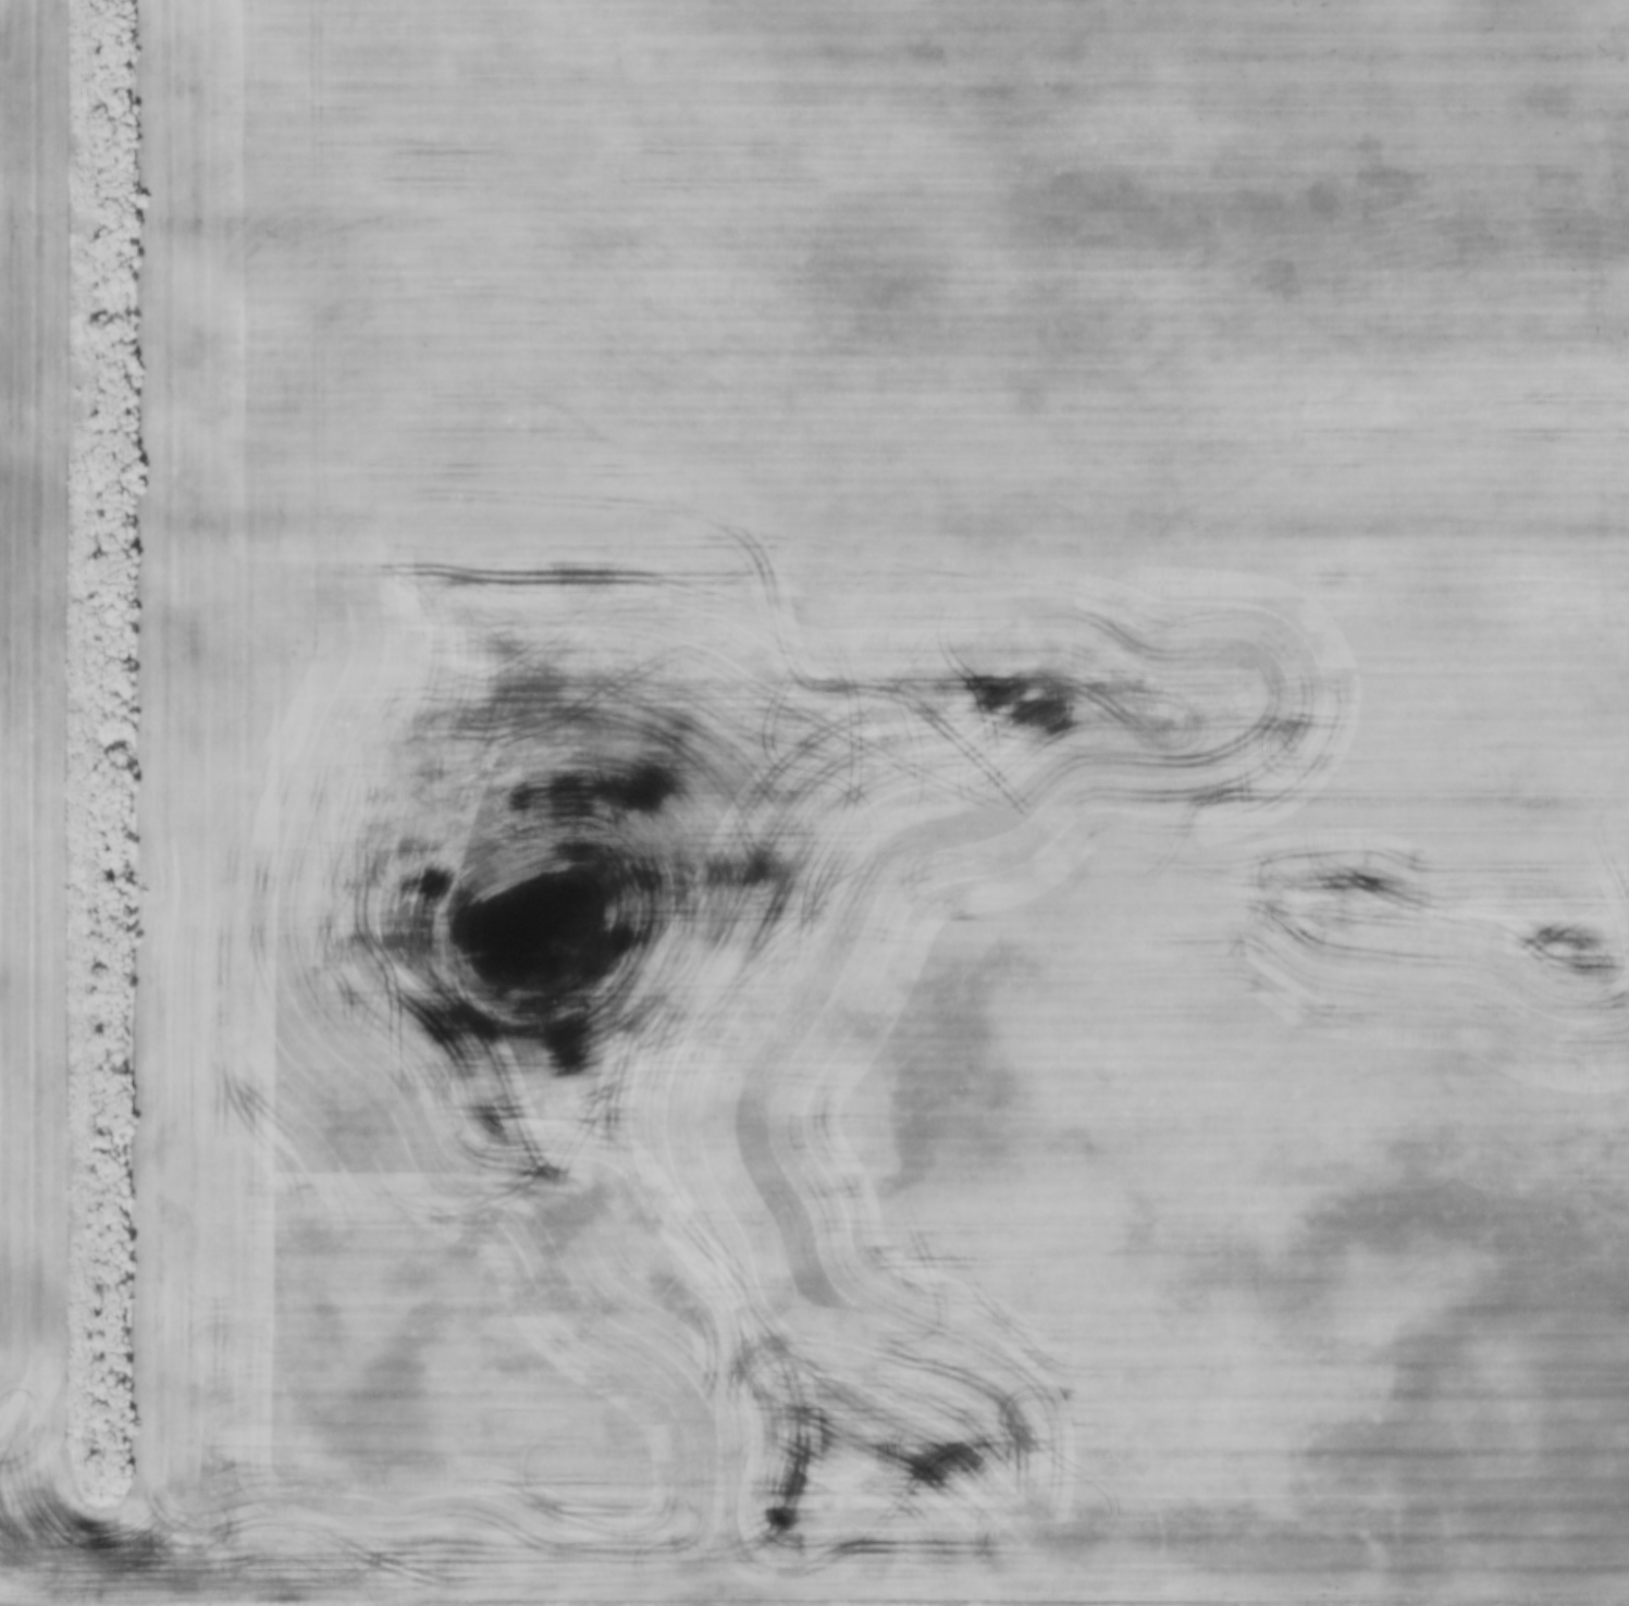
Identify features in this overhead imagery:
road: (814, 1588)

